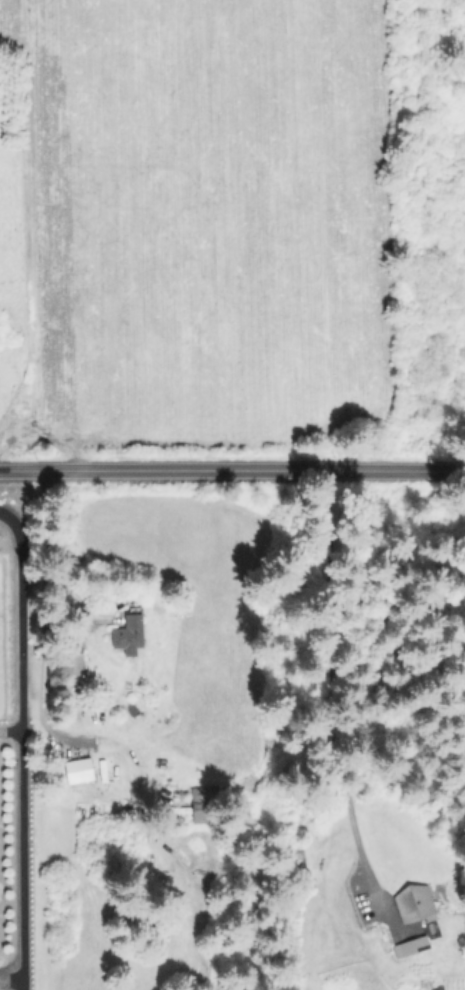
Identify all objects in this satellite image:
road: (232, 466)
building: (128, 636)
road: (316, 688)
road: (9, 732)
road: (19, 747)
building: (77, 771)
building: (413, 905)
building: (409, 948)

